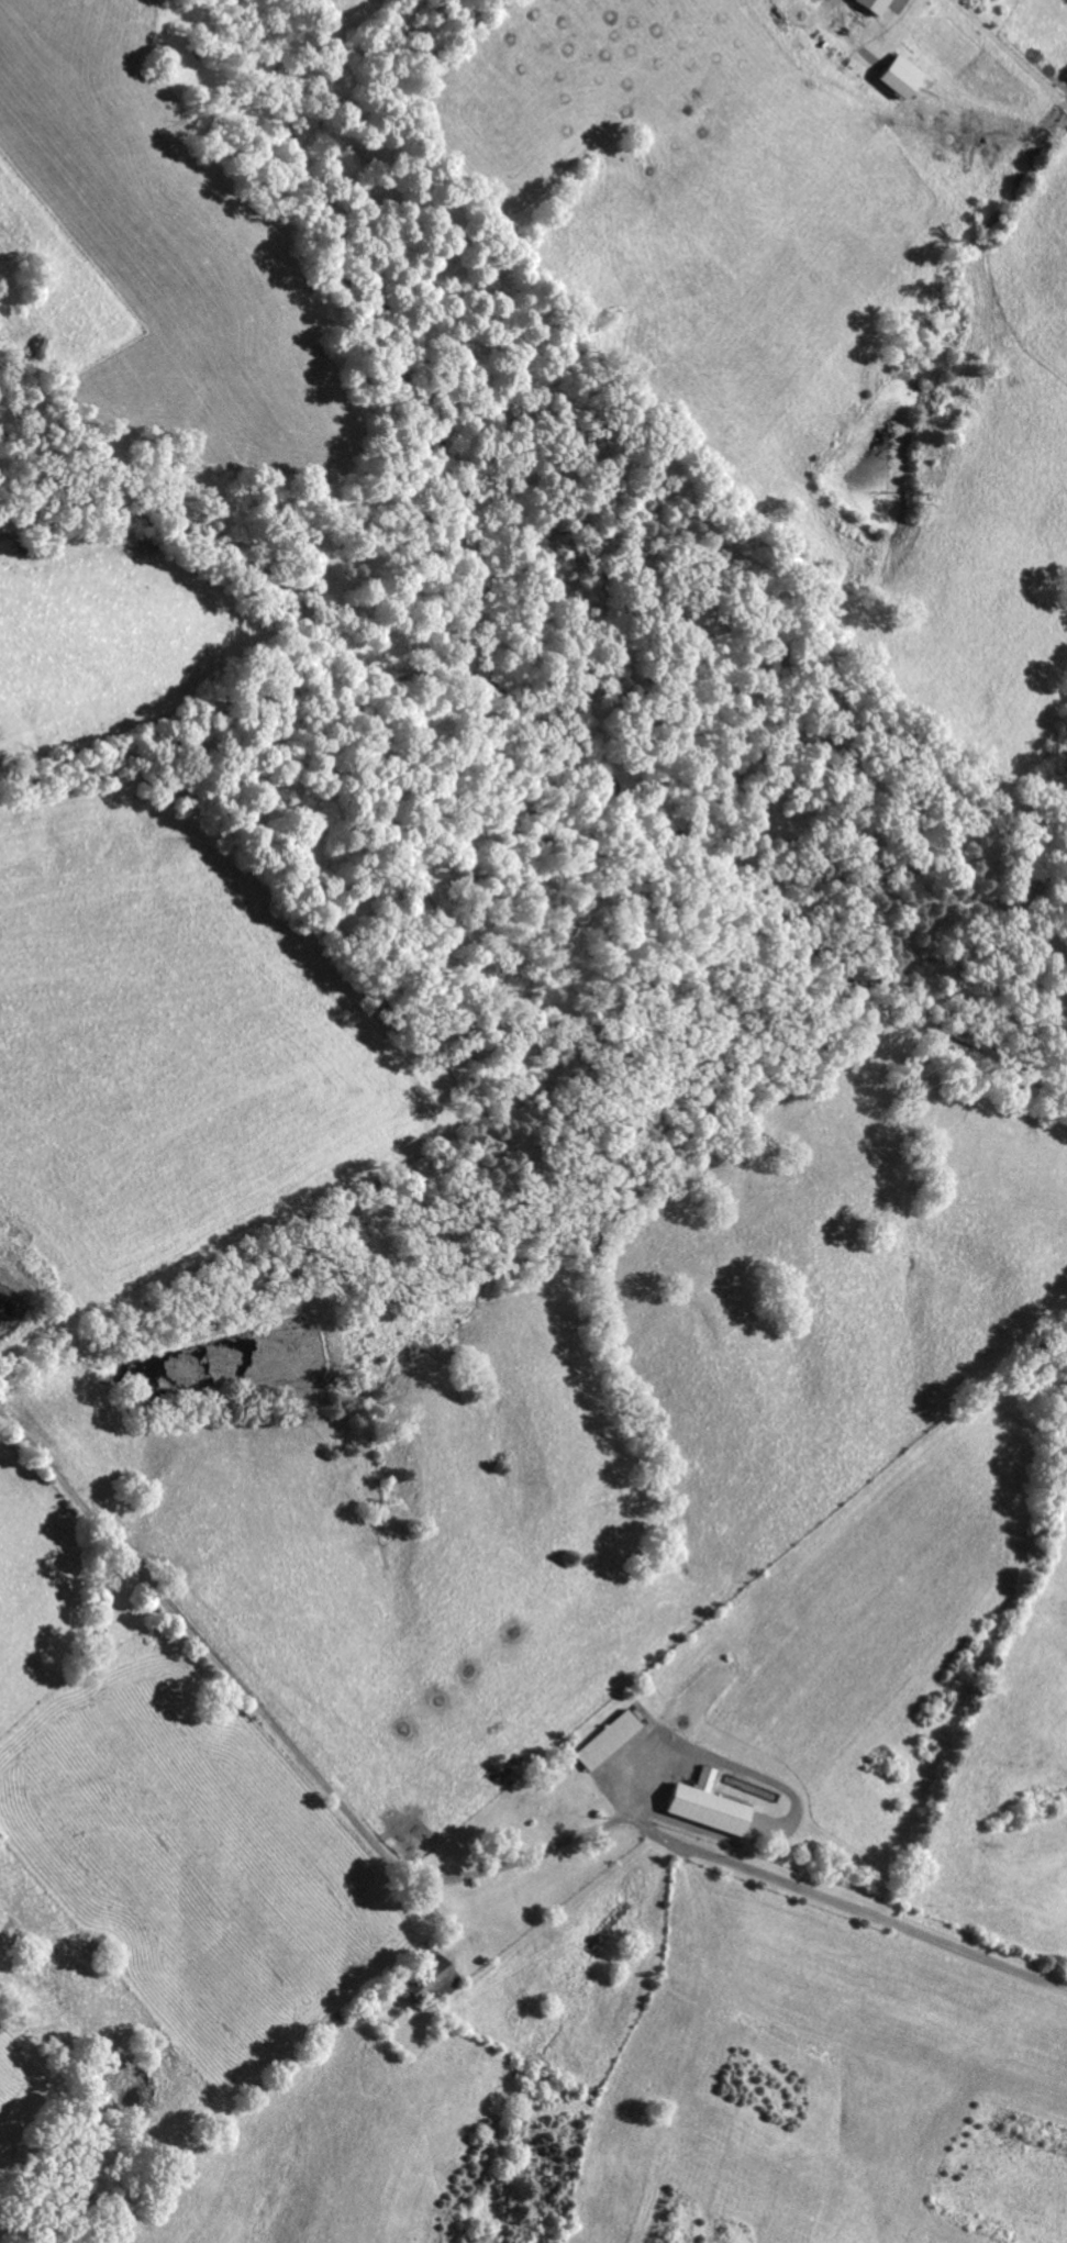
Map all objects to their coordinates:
road: (202, 1643)
building: (603, 1737)
building: (703, 1802)
road: (554, 1846)
building: (427, 1978)

